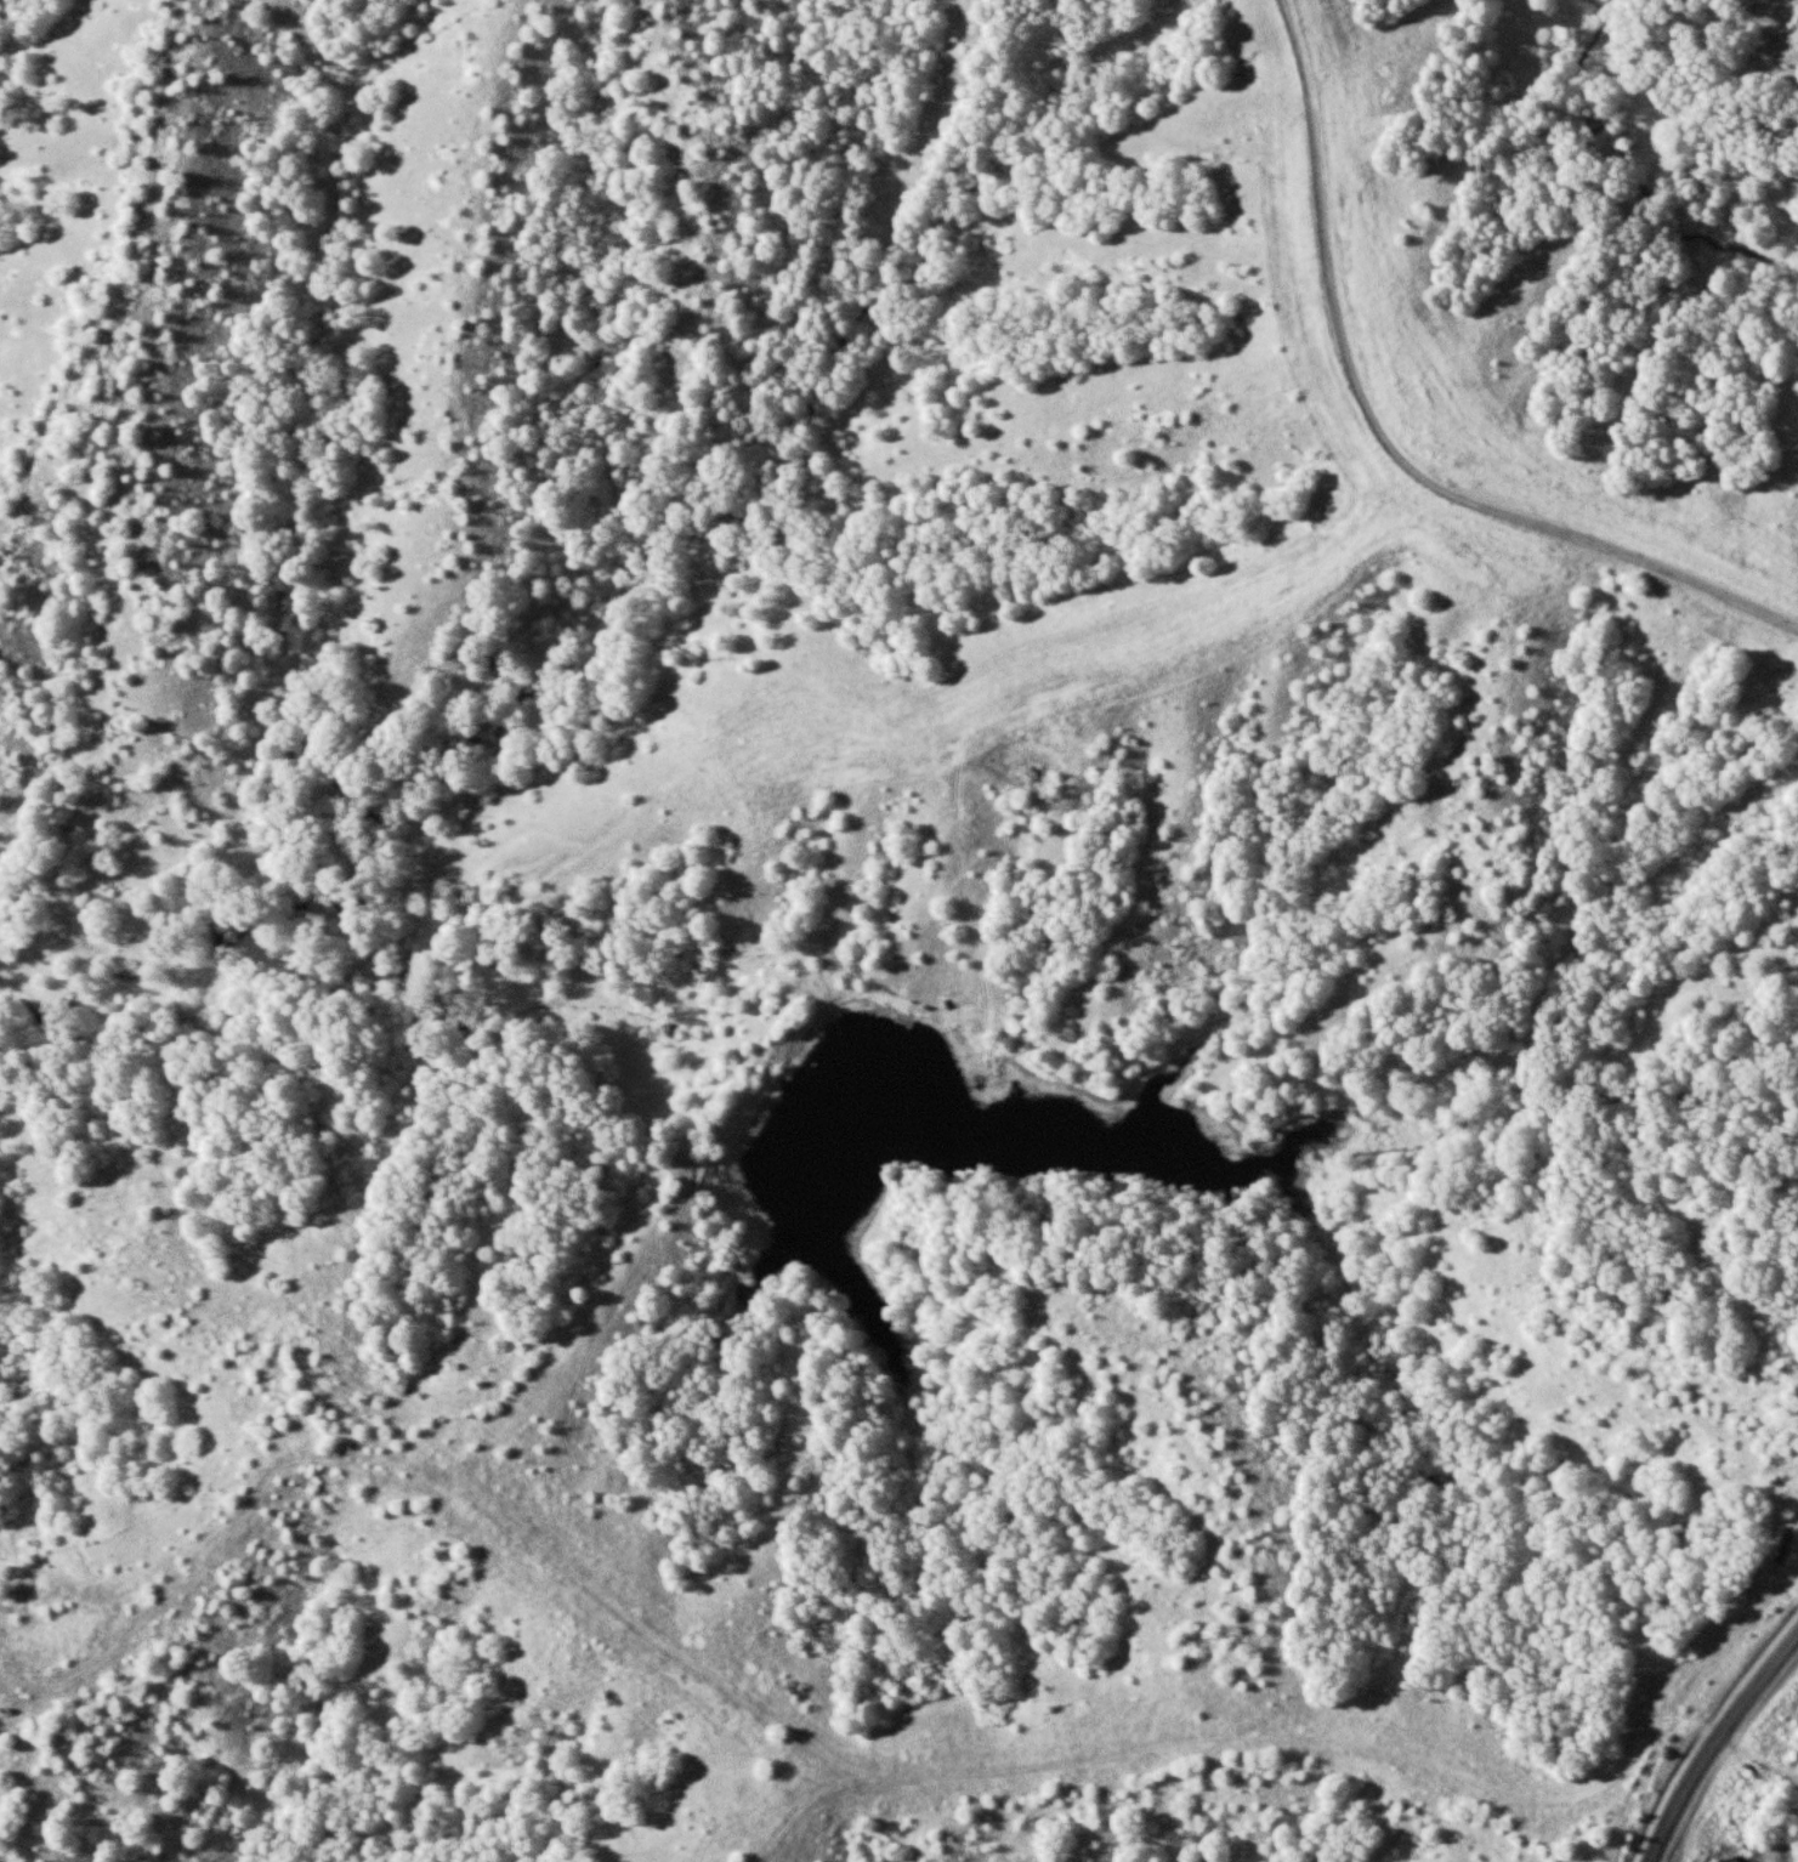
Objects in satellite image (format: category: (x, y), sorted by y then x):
road: (1389, 432)
road: (1711, 1736)

